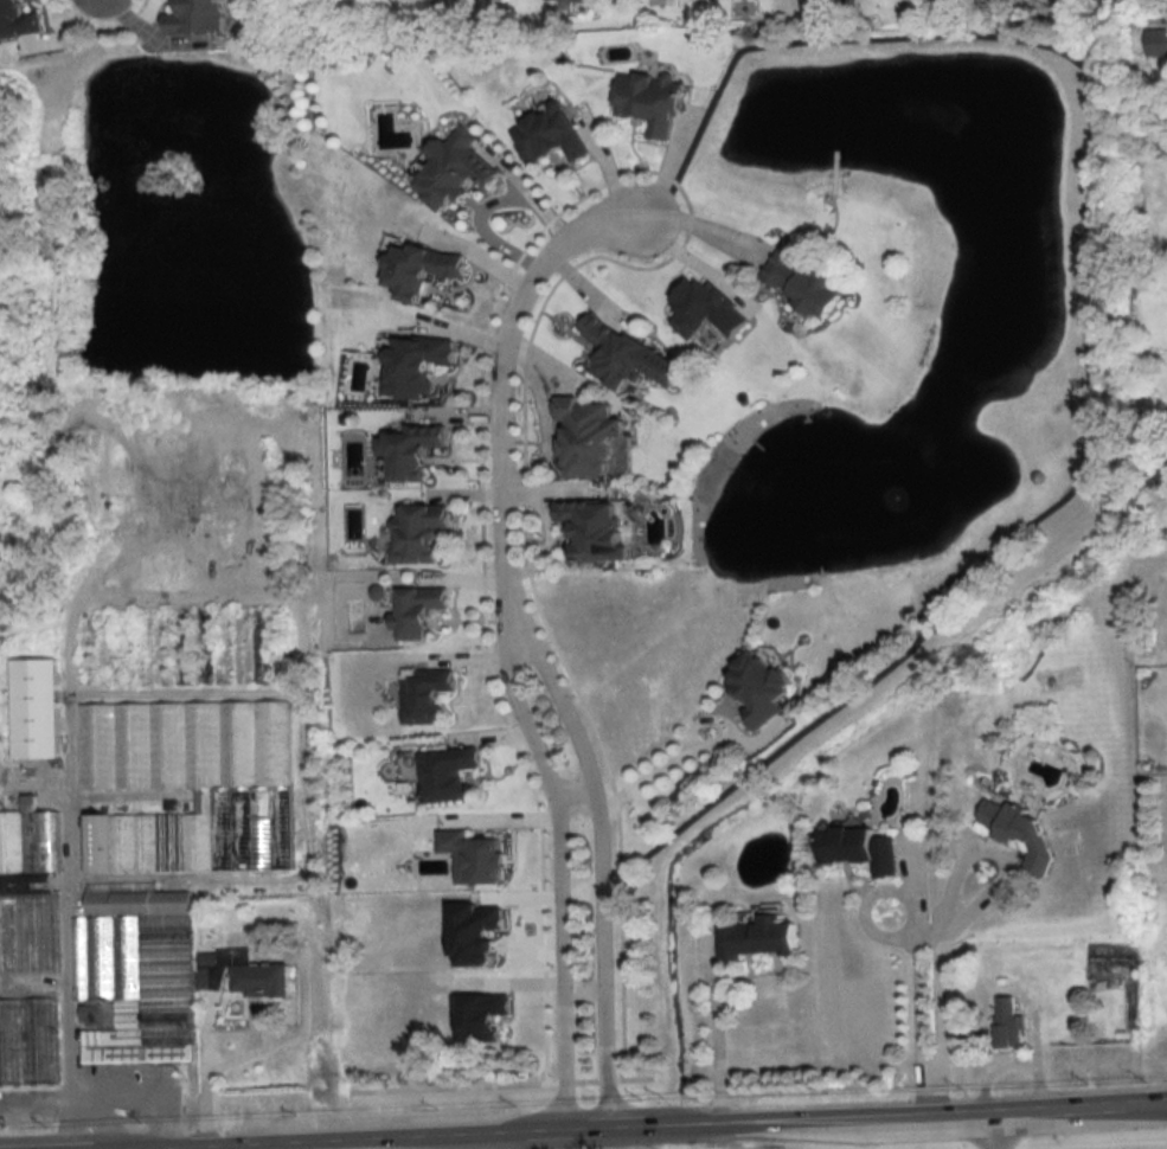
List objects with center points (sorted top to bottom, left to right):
building: (583, 0)
building: (198, 15)
building: (19, 19)
building: (1156, 41)
building: (652, 101)
building: (551, 135)
building: (455, 169)
building: (421, 269)
building: (804, 283)
building: (708, 309)
building: (630, 355)
building: (417, 365)
road: (501, 380)
building: (594, 437)
building: (411, 450)
building: (601, 528)
building: (418, 533)
building: (421, 610)
building: (763, 686)
building: (425, 697)
building: (36, 708)
road: (694, 750)
building: (449, 774)
building: (195, 789)
road: (576, 795)
building: (1024, 828)
building: (864, 848)
road: (993, 854)
road: (599, 861)
road: (556, 866)
building: (28, 891)
road: (910, 927)
building: (761, 938)
road: (930, 944)
building: (134, 974)
building: (262, 980)
building: (1008, 1023)
building: (28, 1041)
road: (716, 1045)
road: (203, 1081)
road: (929, 1091)
road: (116, 1095)
road: (36, 1099)
road: (640, 1122)
road: (995, 1128)

